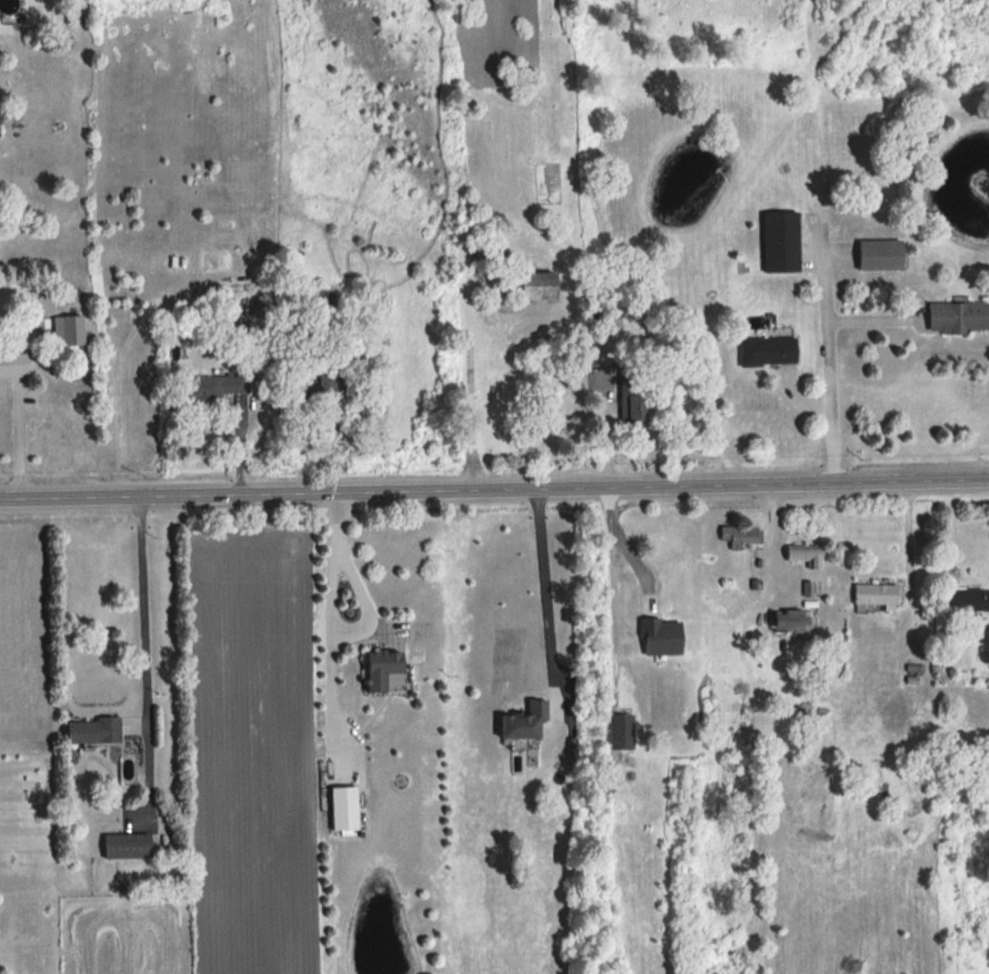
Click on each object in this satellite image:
building: (778, 243)
building: (533, 286)
building: (955, 318)
building: (608, 320)
building: (763, 352)
road: (829, 364)
building: (11, 366)
building: (212, 387)
building: (632, 411)
road: (17, 444)
road: (494, 488)
building: (739, 537)
road: (614, 540)
road: (909, 546)
building: (802, 557)
road: (337, 558)
road: (544, 575)
building: (872, 598)
road: (144, 599)
building: (968, 600)
building: (792, 621)
crop: (22, 637)
building: (659, 638)
building: (376, 671)
building: (521, 726)
building: (89, 731)
building: (618, 733)
crop: (251, 753)
building: (342, 810)
building: (124, 847)

